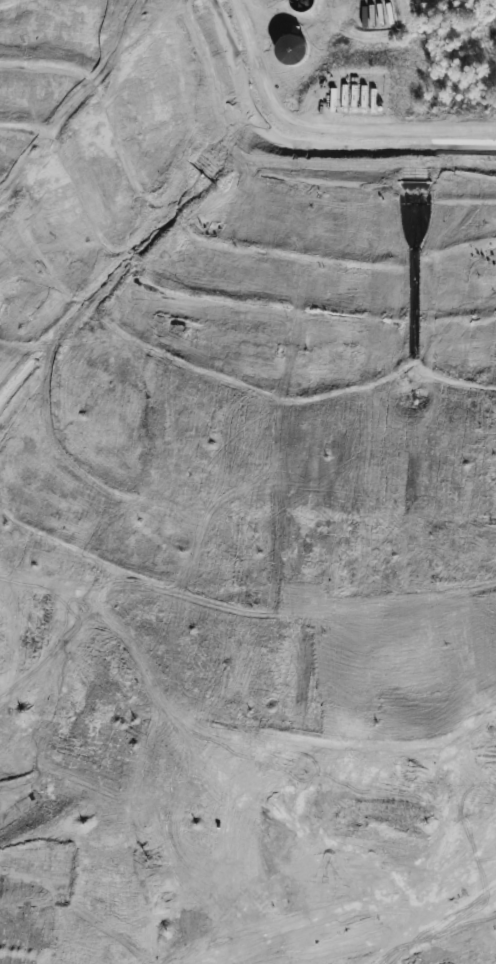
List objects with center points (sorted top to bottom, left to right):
road: (77, 56)
road: (323, 133)
landfill: (240, 505)

